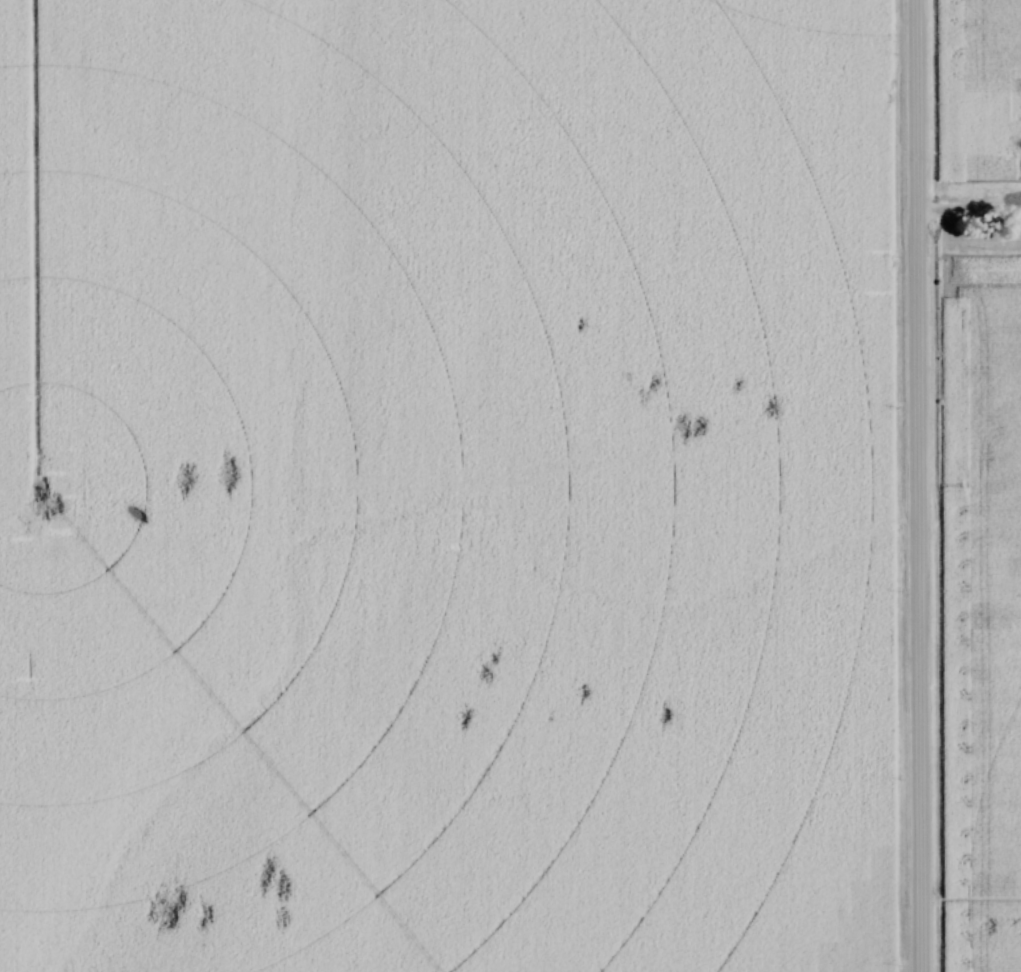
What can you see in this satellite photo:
road: (964, 214)
road: (909, 486)

